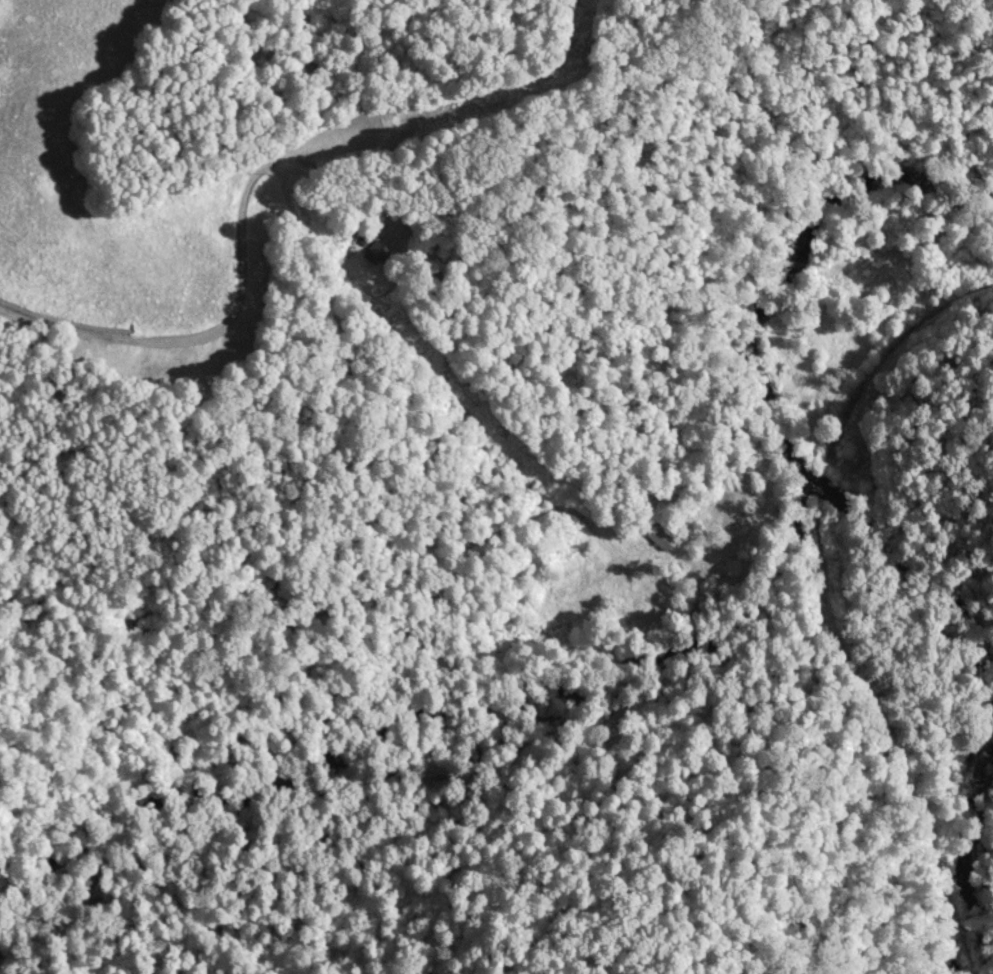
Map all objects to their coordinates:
road: (387, 243)
railway: (885, 352)
railway: (817, 480)
building: (655, 539)
railway: (867, 738)

